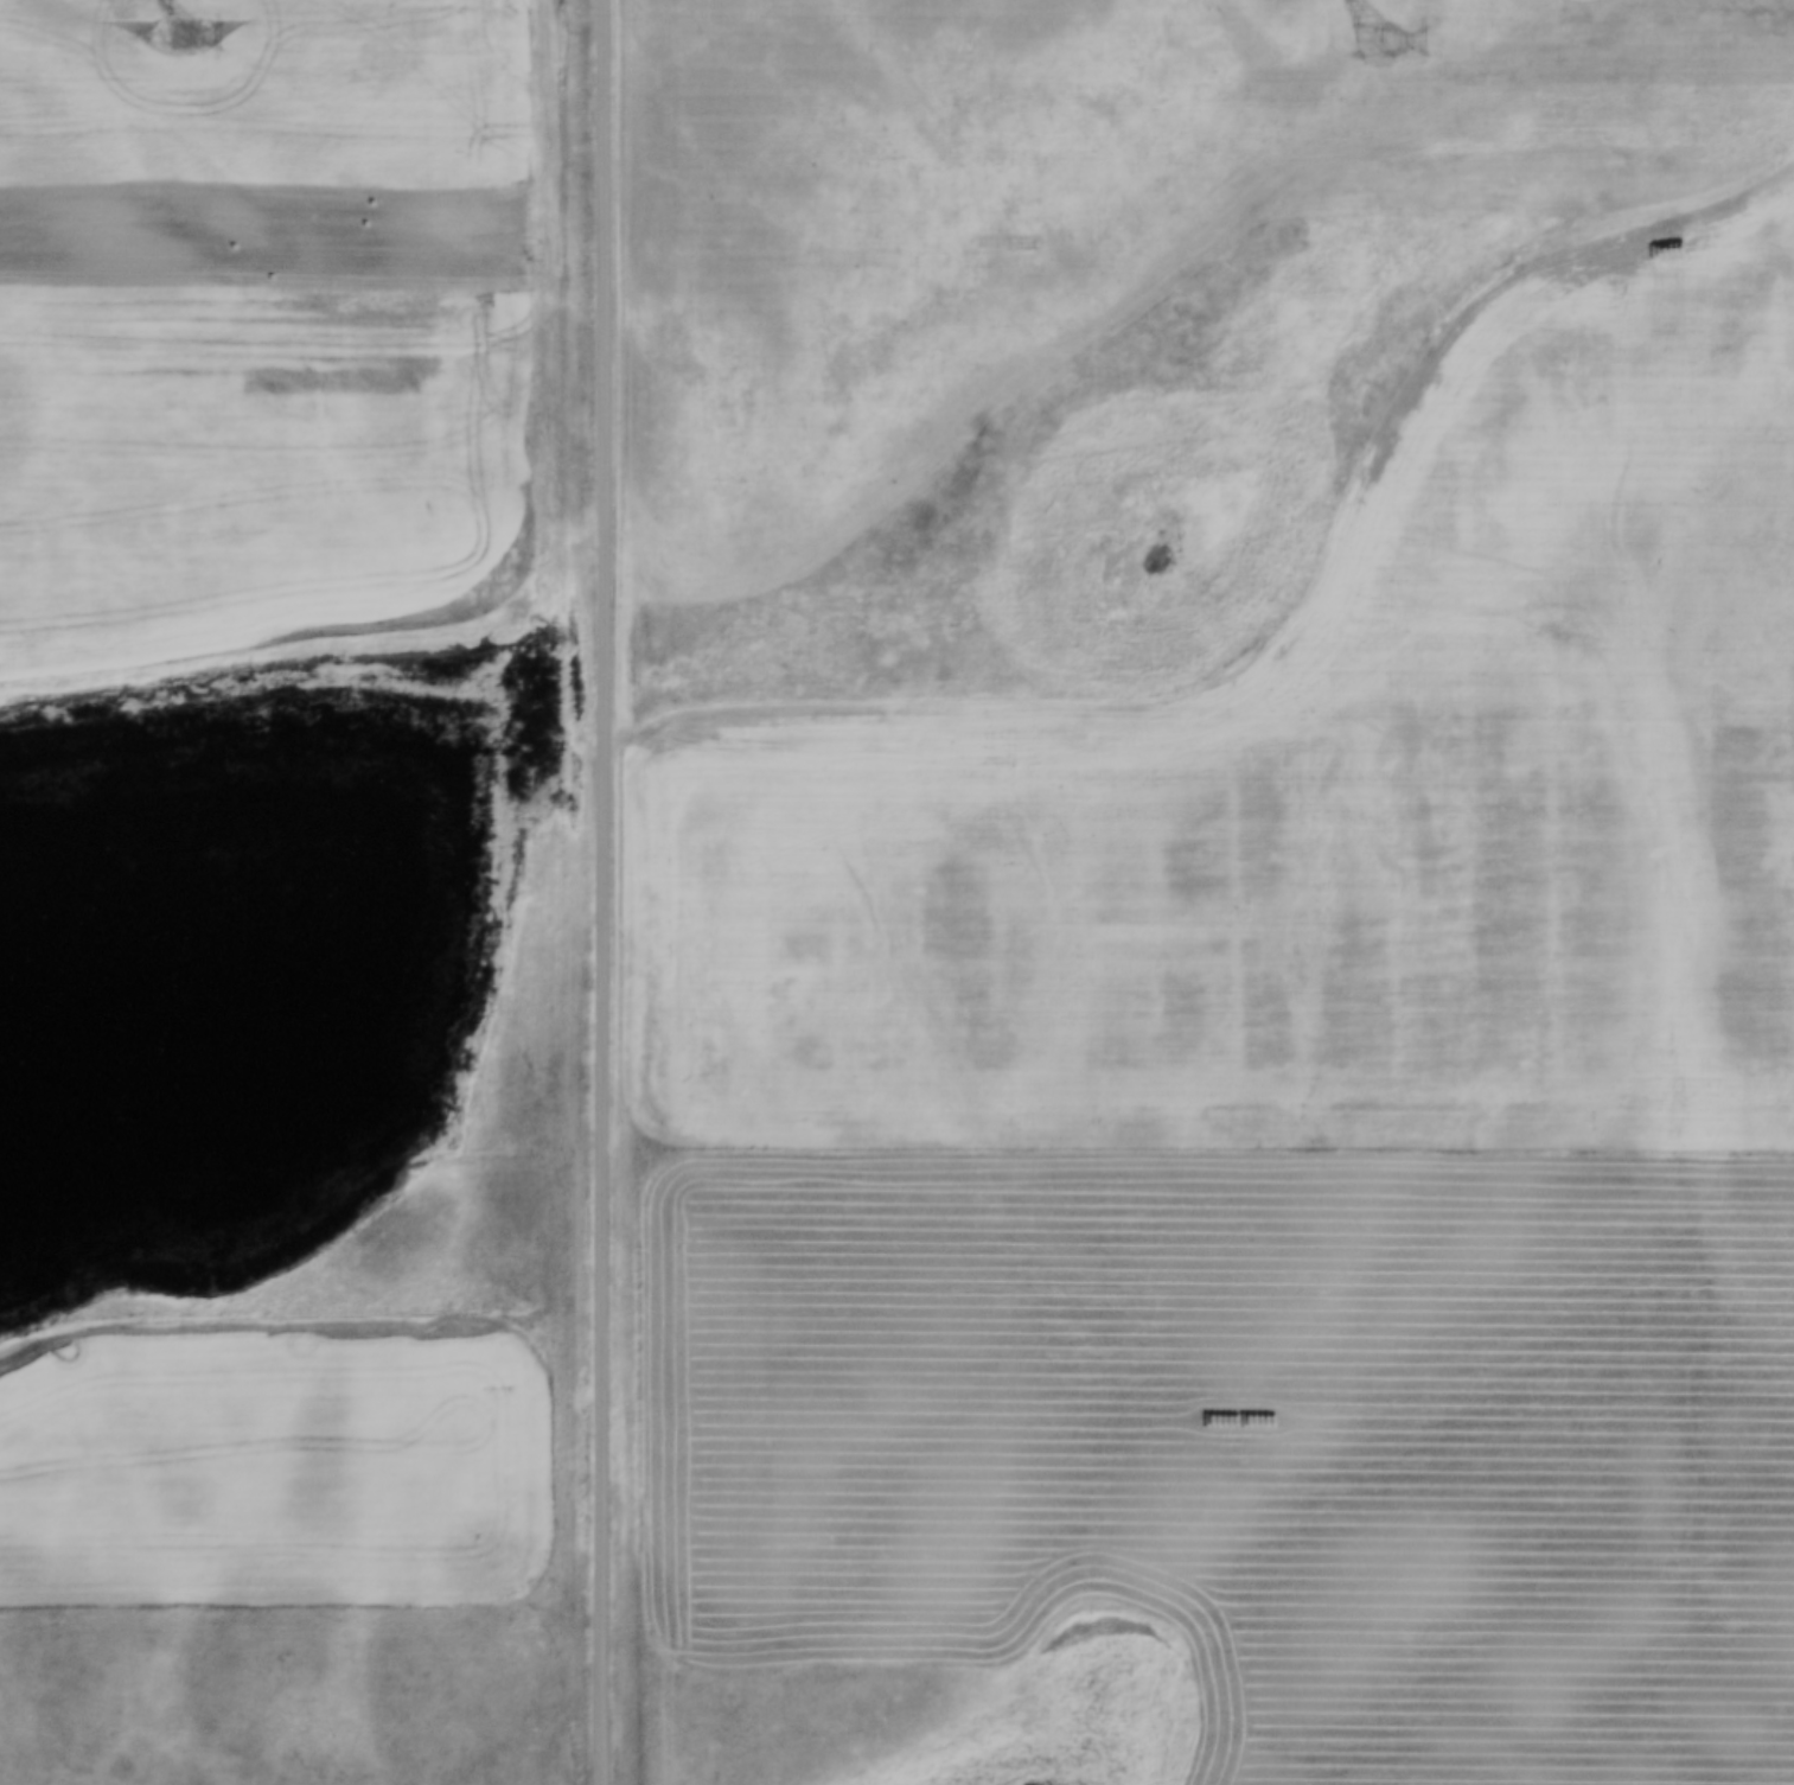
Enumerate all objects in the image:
power tower: (191, 39)
power tower: (1381, 46)
road: (600, 892)

